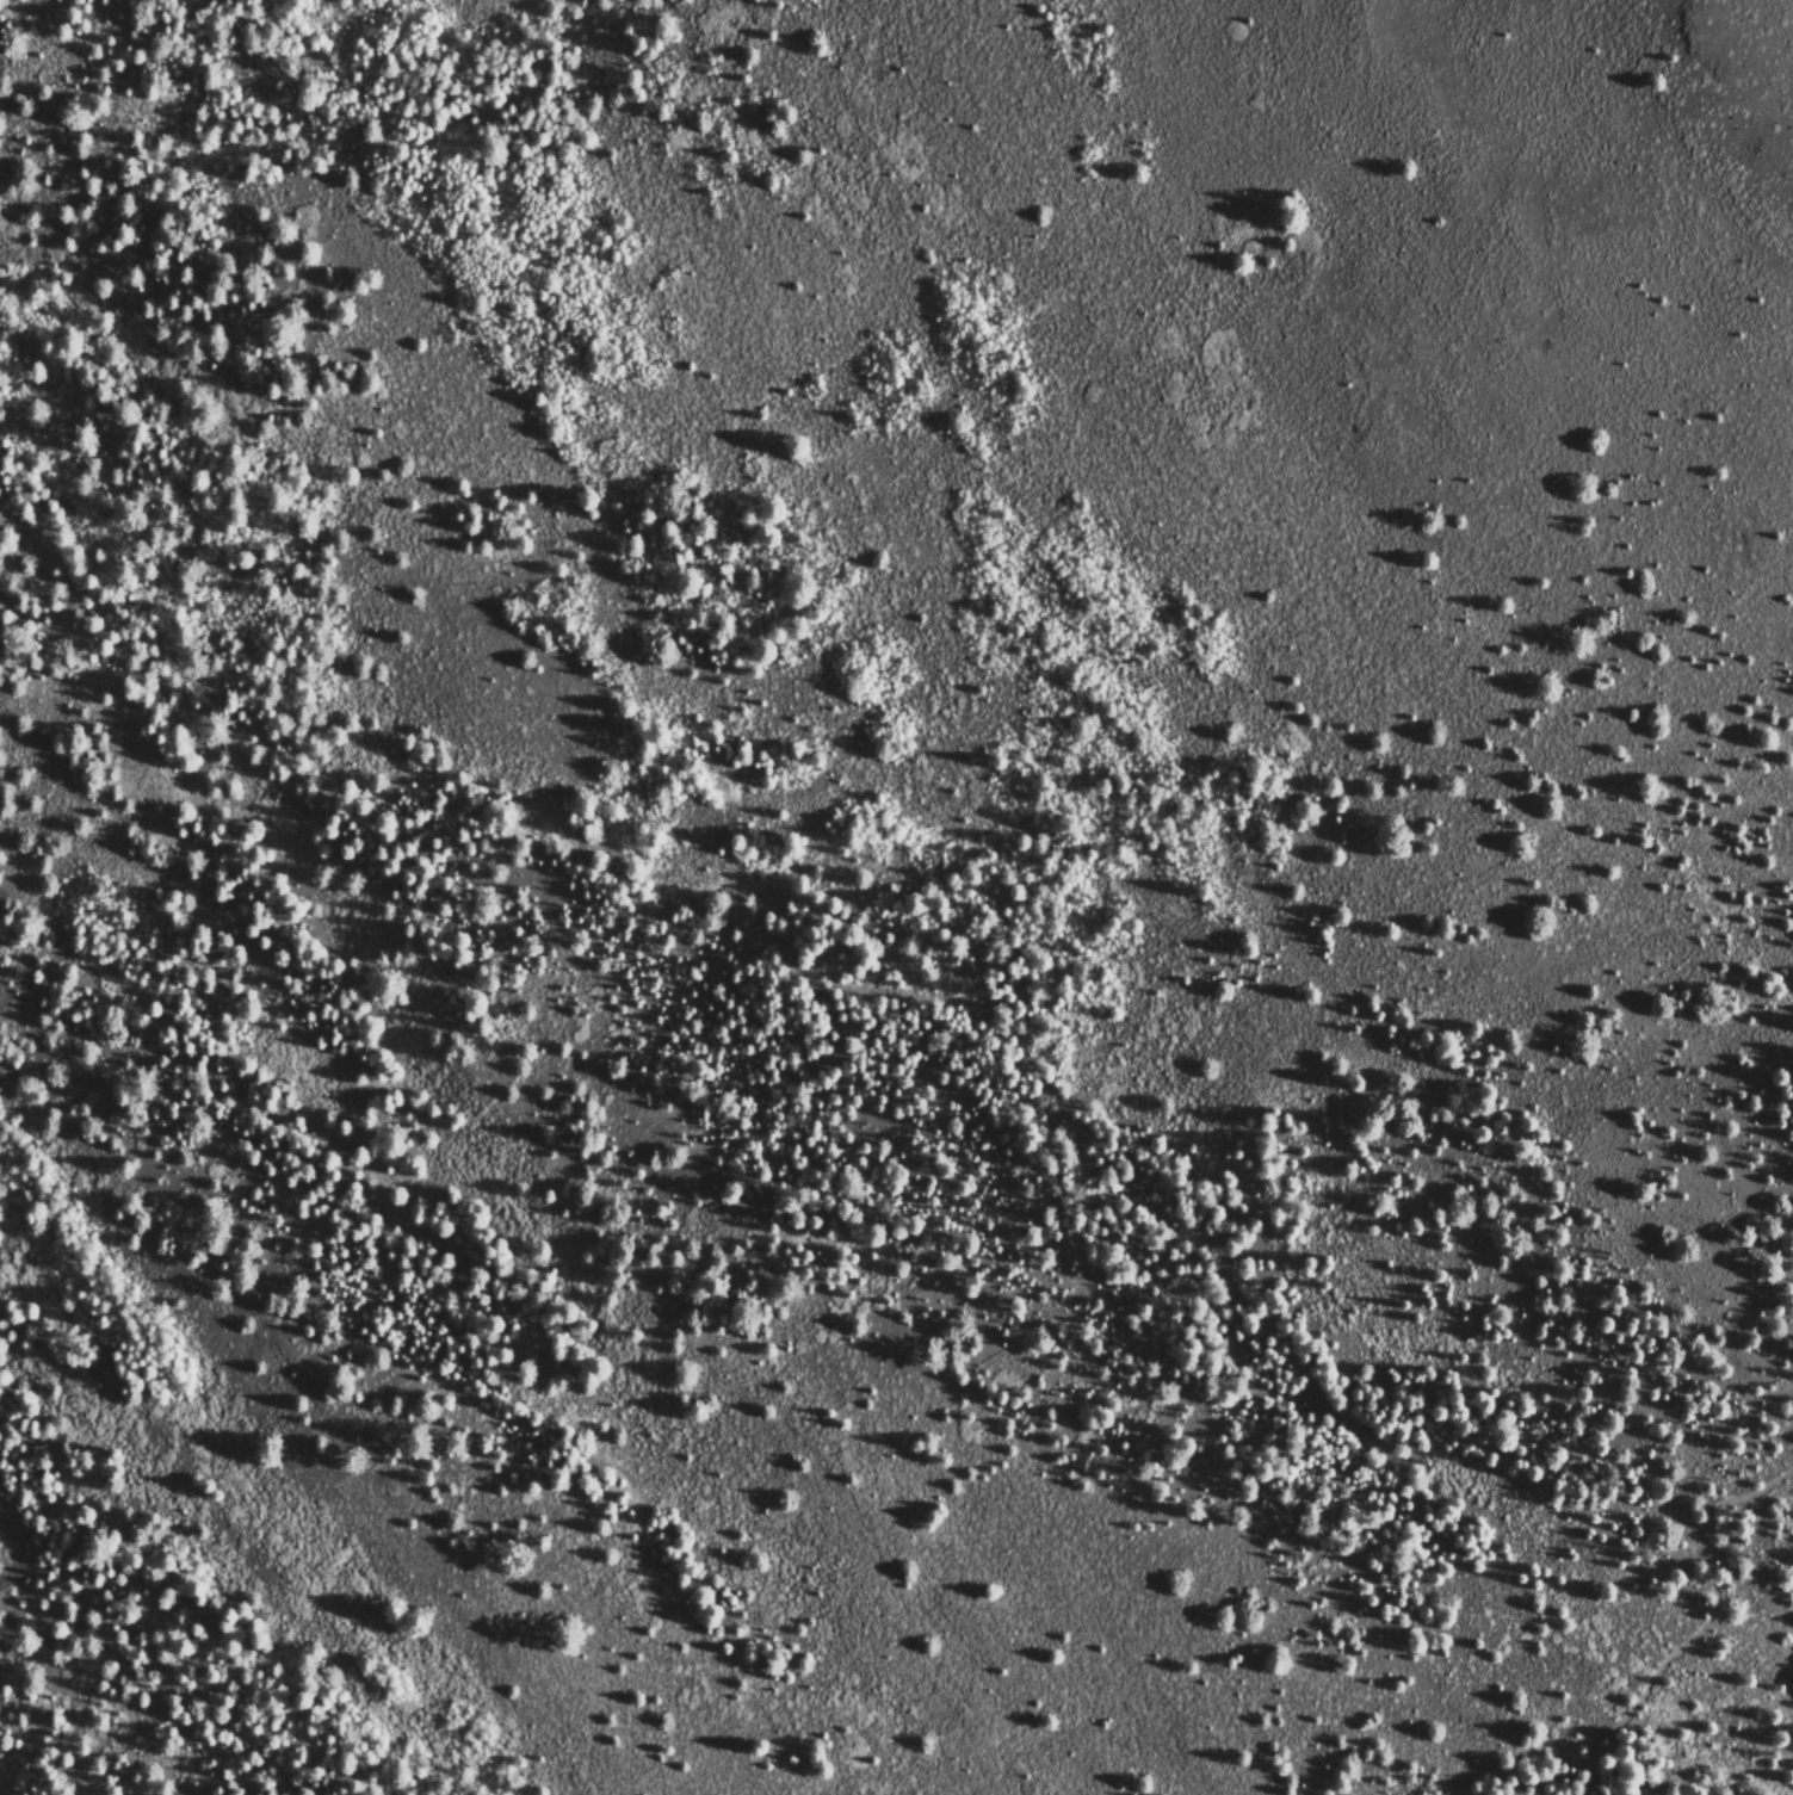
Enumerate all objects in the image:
road: (1704, 1624)

